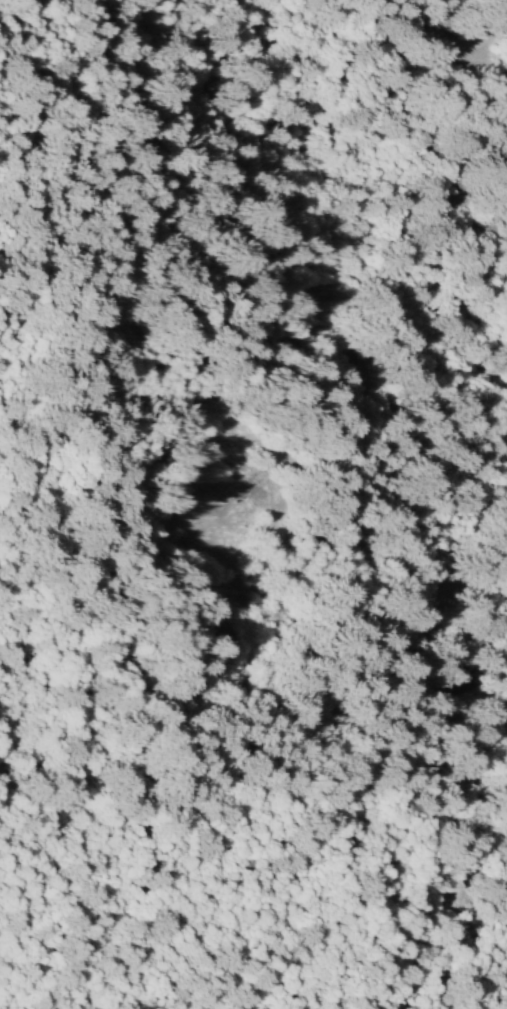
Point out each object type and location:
road: (443, 42)
road: (127, 164)

